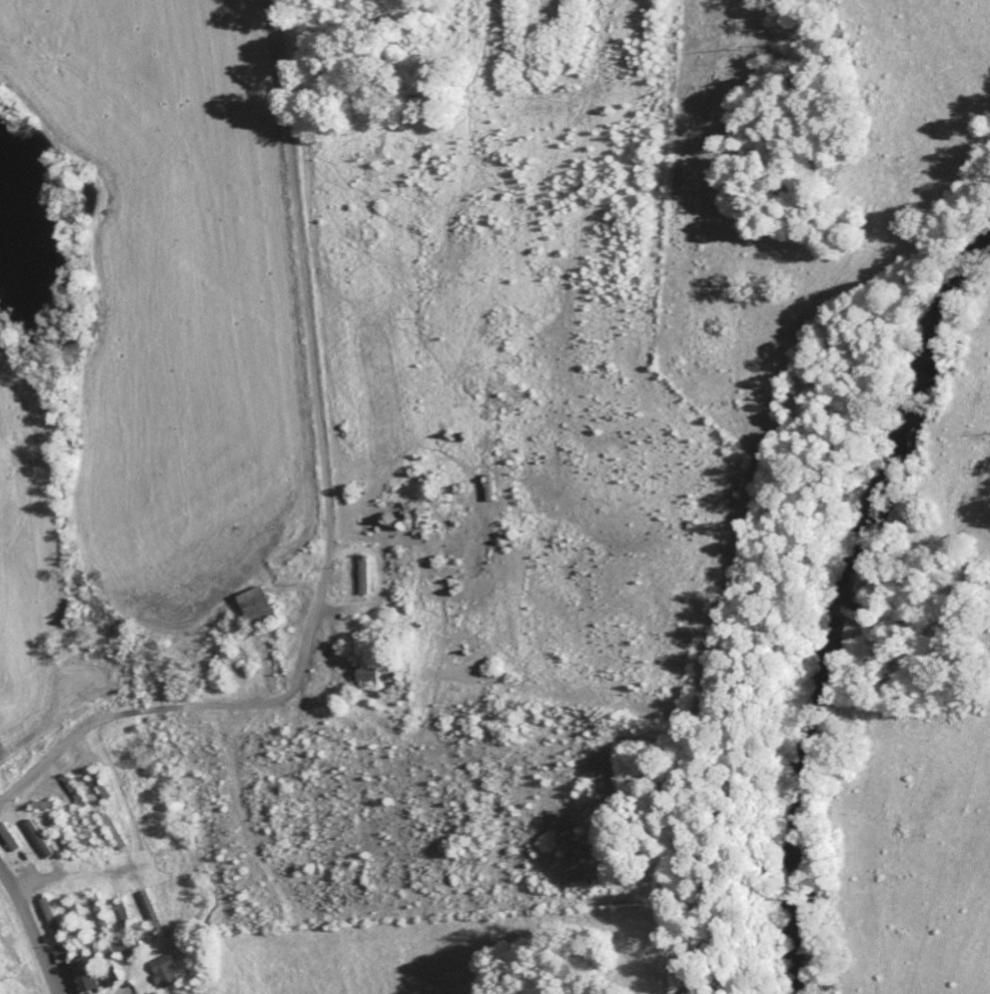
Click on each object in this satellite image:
building: (258, 608)
building: (368, 678)
road: (198, 708)
building: (10, 841)
road: (34, 930)
building: (120, 953)
building: (63, 958)
building: (167, 975)
building: (88, 977)

